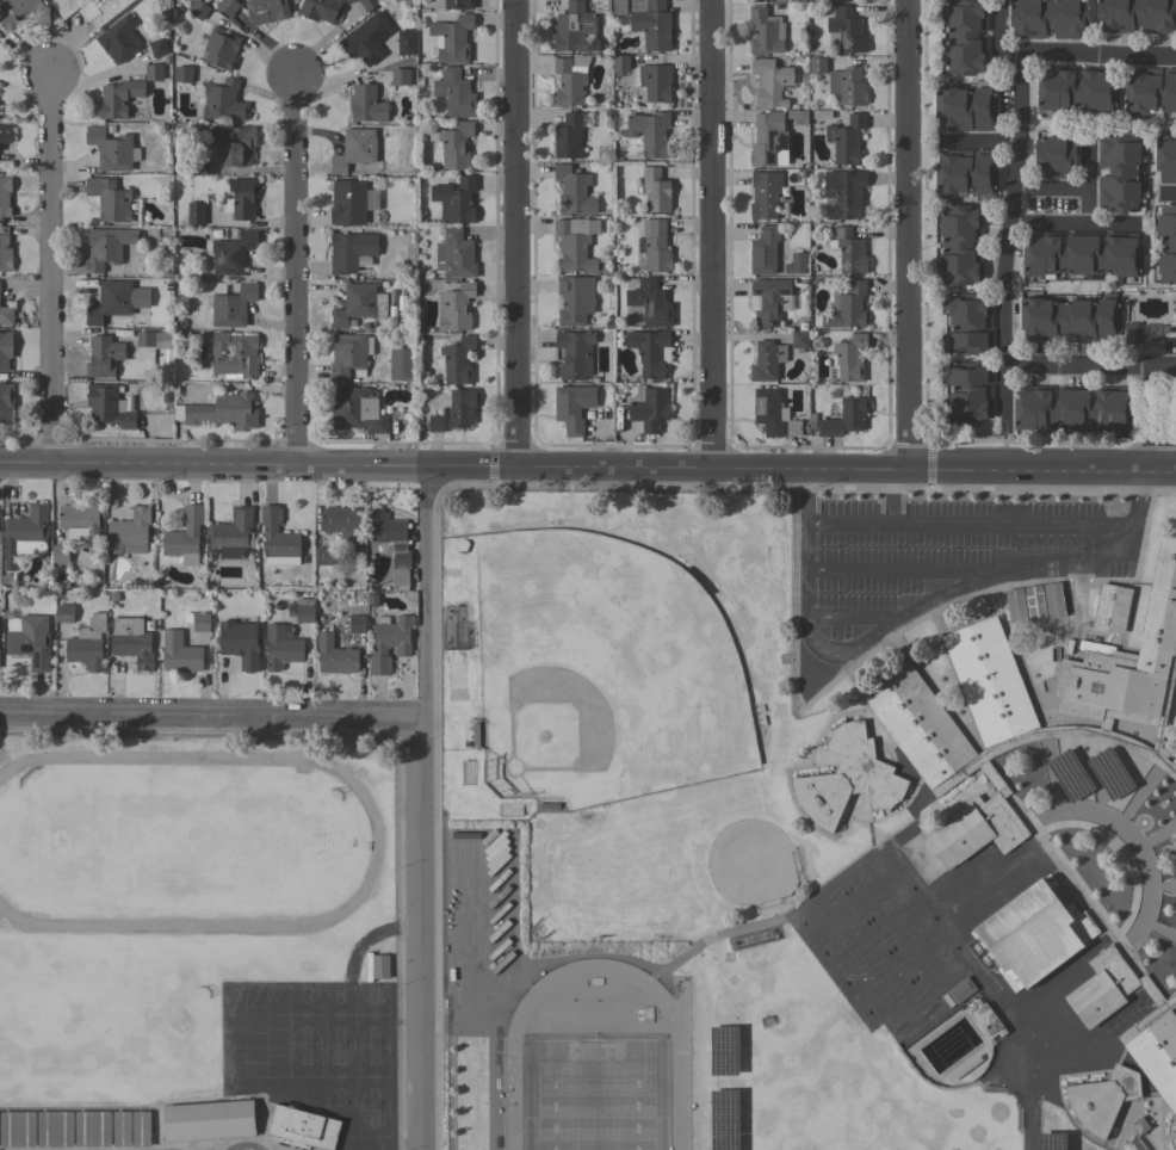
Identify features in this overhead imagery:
building: (763, 0)
building: (830, 0)
building: (458, 4)
building: (600, 5)
building: (227, 6)
building: (618, 7)
building: (89, 8)
building: (198, 8)
building: (330, 8)
building: (16, 11)
building: (266, 11)
building: (1137, 14)
building: (1048, 18)
building: (652, 25)
building: (575, 29)
building: (847, 30)
building: (765, 31)
building: (965, 37)
building: (119, 38)
building: (366, 38)
building: (452, 38)
building: (406, 42)
building: (157, 47)
building: (217, 48)
building: (620, 63)
building: (817, 64)
building: (154, 72)
building: (185, 74)
building: (400, 76)
building: (570, 79)
building: (769, 81)
building: (655, 82)
building: (848, 86)
building: (1078, 89)
building: (1149, 91)
building: (454, 93)
building: (118, 98)
building: (222, 100)
building: (366, 104)
building: (963, 106)
building: (650, 132)
building: (6, 134)
building: (568, 137)
building: (768, 140)
building: (846, 140)
road: (977, 142)
building: (234, 144)
building: (454, 144)
building: (111, 149)
building: (355, 149)
building: (1054, 155)
road: (1013, 157)
building: (1165, 157)
road: (1083, 163)
building: (1118, 172)
building: (964, 173)
road: (1066, 185)
building: (655, 190)
building: (574, 191)
building: (844, 193)
road: (1170, 193)
building: (765, 194)
building: (5, 197)
building: (241, 198)
building: (110, 199)
building: (454, 199)
building: (347, 202)
building: (196, 212)
road: (1067, 225)
road: (513, 230)
road: (711, 231)
road: (904, 231)
building: (215, 234)
building: (233, 234)
building: (575, 242)
building: (1166, 243)
building: (960, 245)
building: (106, 247)
building: (656, 247)
building: (848, 249)
building: (5, 251)
building: (763, 251)
building: (351, 252)
building: (1081, 253)
building: (231, 254)
building: (457, 254)
road: (50, 262)
building: (794, 264)
road: (293, 266)
building: (575, 299)
building: (649, 299)
building: (117, 301)
building: (769, 301)
building: (230, 304)
building: (359, 304)
building: (847, 307)
building: (454, 308)
building: (6, 315)
building: (138, 315)
building: (1071, 319)
building: (967, 324)
building: (1129, 333)
building: (144, 339)
building: (799, 339)
building: (6, 350)
building: (649, 352)
building: (574, 353)
building: (234, 354)
building: (103, 355)
building: (349, 355)
building: (849, 357)
building: (457, 360)
building: (766, 360)
building: (165, 361)
building: (401, 364)
road: (1089, 365)
building: (173, 389)
building: (967, 392)
building: (165, 398)
building: (6, 401)
building: (107, 406)
building: (572, 407)
building: (646, 408)
building: (1072, 408)
building: (355, 409)
building: (221, 410)
building: (456, 412)
building: (772, 413)
road: (1147, 415)
road: (1170, 415)
building: (844, 418)
building: (811, 420)
road: (211, 457)
road: (799, 464)
building: (79, 519)
road: (967, 520)
building: (341, 521)
building: (316, 526)
building: (129, 533)
road: (1126, 533)
building: (24, 534)
building: (234, 536)
building: (184, 537)
building: (388, 537)
building: (278, 538)
building: (211, 555)
road: (804, 555)
building: (60, 556)
building: (322, 556)
road: (926, 567)
building: (315, 575)
building: (398, 577)
building: (79, 579)
building: (205, 593)
building: (112, 596)
road: (935, 599)
building: (371, 600)
building: (1032, 601)
building: (1112, 607)
building: (304, 611)
building: (63, 613)
road: (855, 613)
building: (200, 620)
building: (357, 624)
building: (29, 639)
building: (131, 641)
building: (389, 642)
building: (239, 643)
building: (86, 644)
building: (281, 648)
building: (179, 654)
building: (335, 656)
building: (1127, 656)
park: (623, 663)
building: (989, 681)
road: (213, 713)
building: (1145, 721)
building: (917, 724)
building: (1174, 760)
building: (847, 778)
road: (428, 805)
building: (1162, 806)
building: (974, 829)
building: (1175, 841)
track: (182, 847)
park: (750, 865)
building: (1175, 928)
road: (375, 933)
building: (1030, 935)
road: (710, 939)
building: (367, 966)
building: (380, 966)
building: (1101, 988)
building: (960, 990)
building: (1162, 1008)
building: (986, 1021)
track: (502, 1051)
building: (1157, 1057)
building: (1102, 1099)
building: (453, 1112)
building: (208, 1120)
road: (1027, 1125)
building: (17, 1129)
building: (54, 1129)
building: (92, 1129)
building: (120, 1129)
building: (140, 1129)
building: (302, 1129)
building: (1155, 1131)
park: (806, 1133)
building: (452, 1145)

